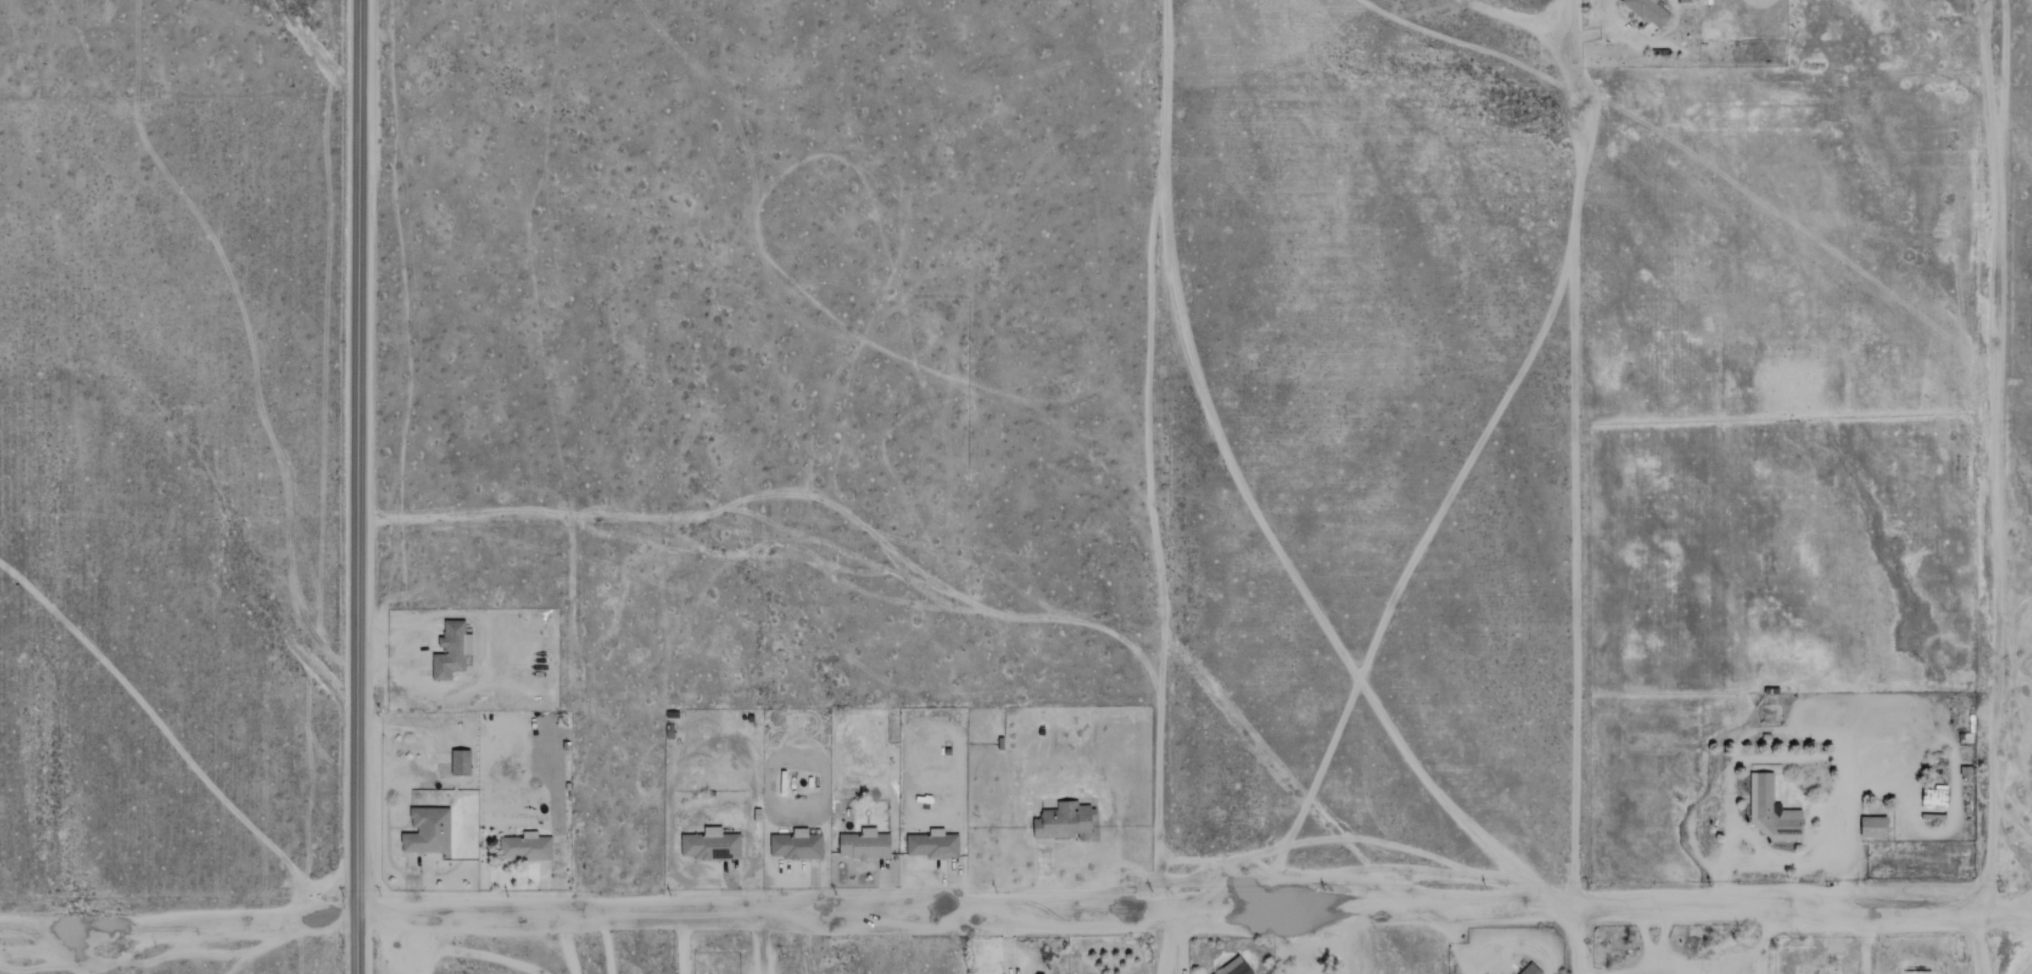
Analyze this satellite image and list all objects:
building: (1649, 12)
road: (1604, 33)
road: (1986, 447)
road: (357, 457)
road: (1574, 486)
building: (452, 650)
building: (460, 762)
building: (1934, 796)
building: (1772, 811)
building: (1065, 821)
building: (1874, 826)
building: (426, 830)
building: (864, 844)
building: (932, 844)
building: (710, 845)
building: (796, 845)
building: (525, 846)
road: (1194, 905)
road: (178, 916)
road: (1978, 933)
road: (1864, 936)
road: (1172, 939)
road: (1762, 940)
road: (1006, 941)
road: (605, 943)
road: (682, 943)
road: (763, 943)
road: (356, 944)
road: (411, 944)
building: (1234, 967)
building: (1530, 969)

